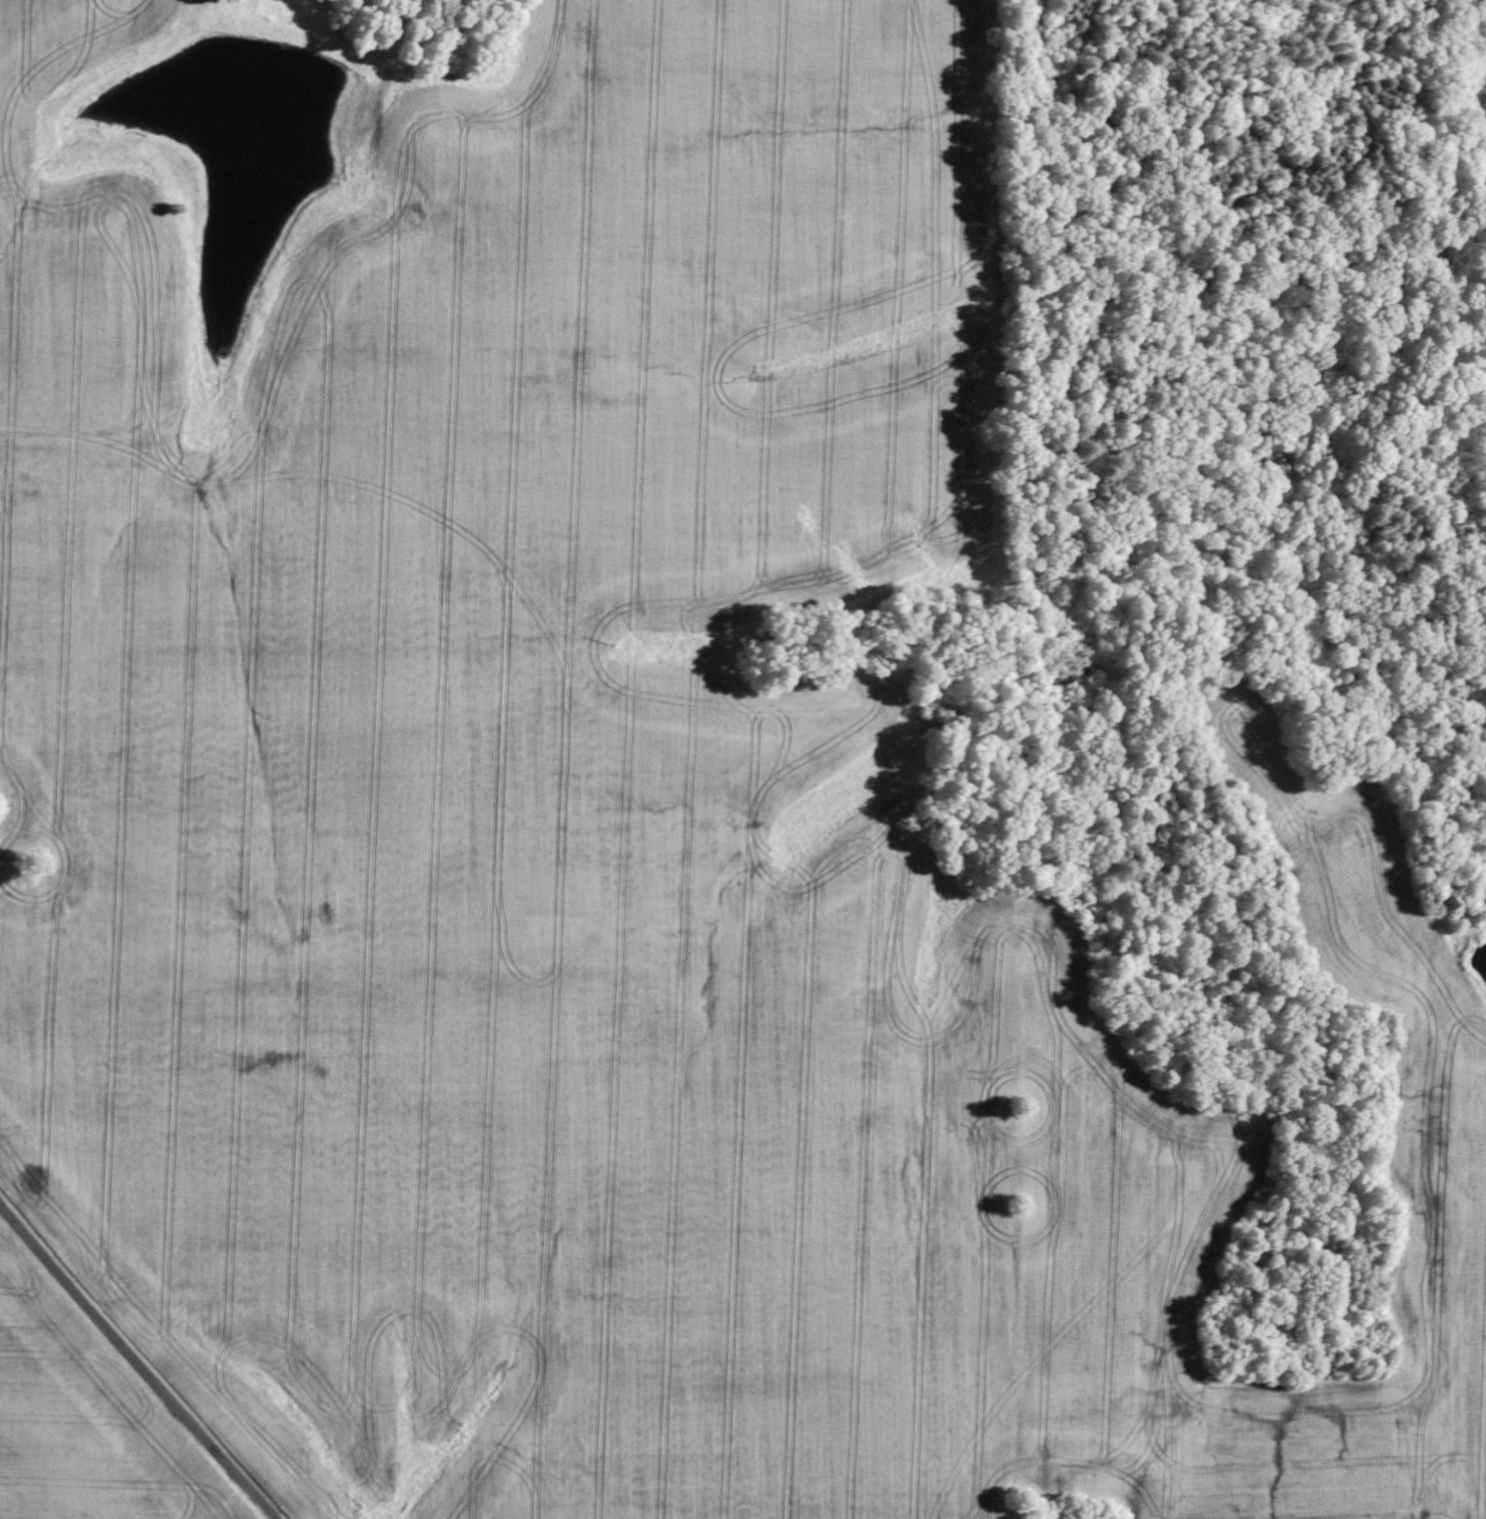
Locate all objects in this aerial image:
road: (136, 1363)

